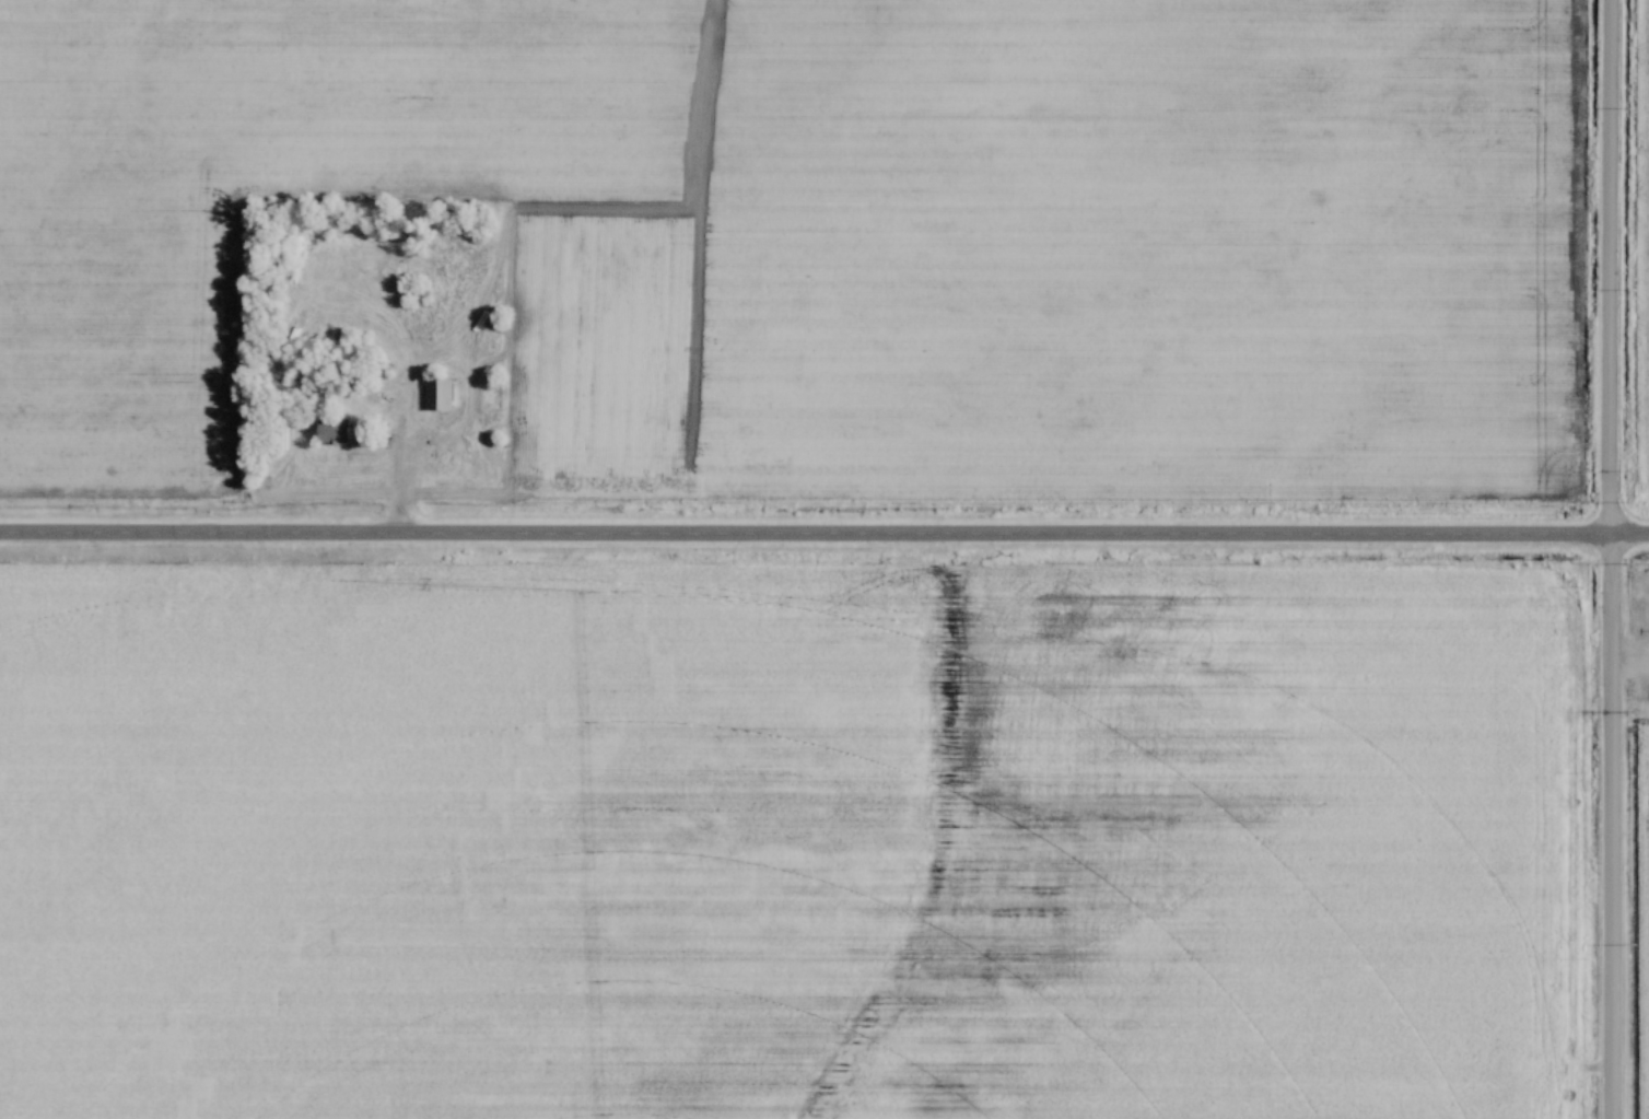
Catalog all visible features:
building: (420, 271)
building: (423, 292)
building: (438, 396)
building: (334, 431)
road: (394, 467)
road: (823, 540)
road: (1605, 559)

